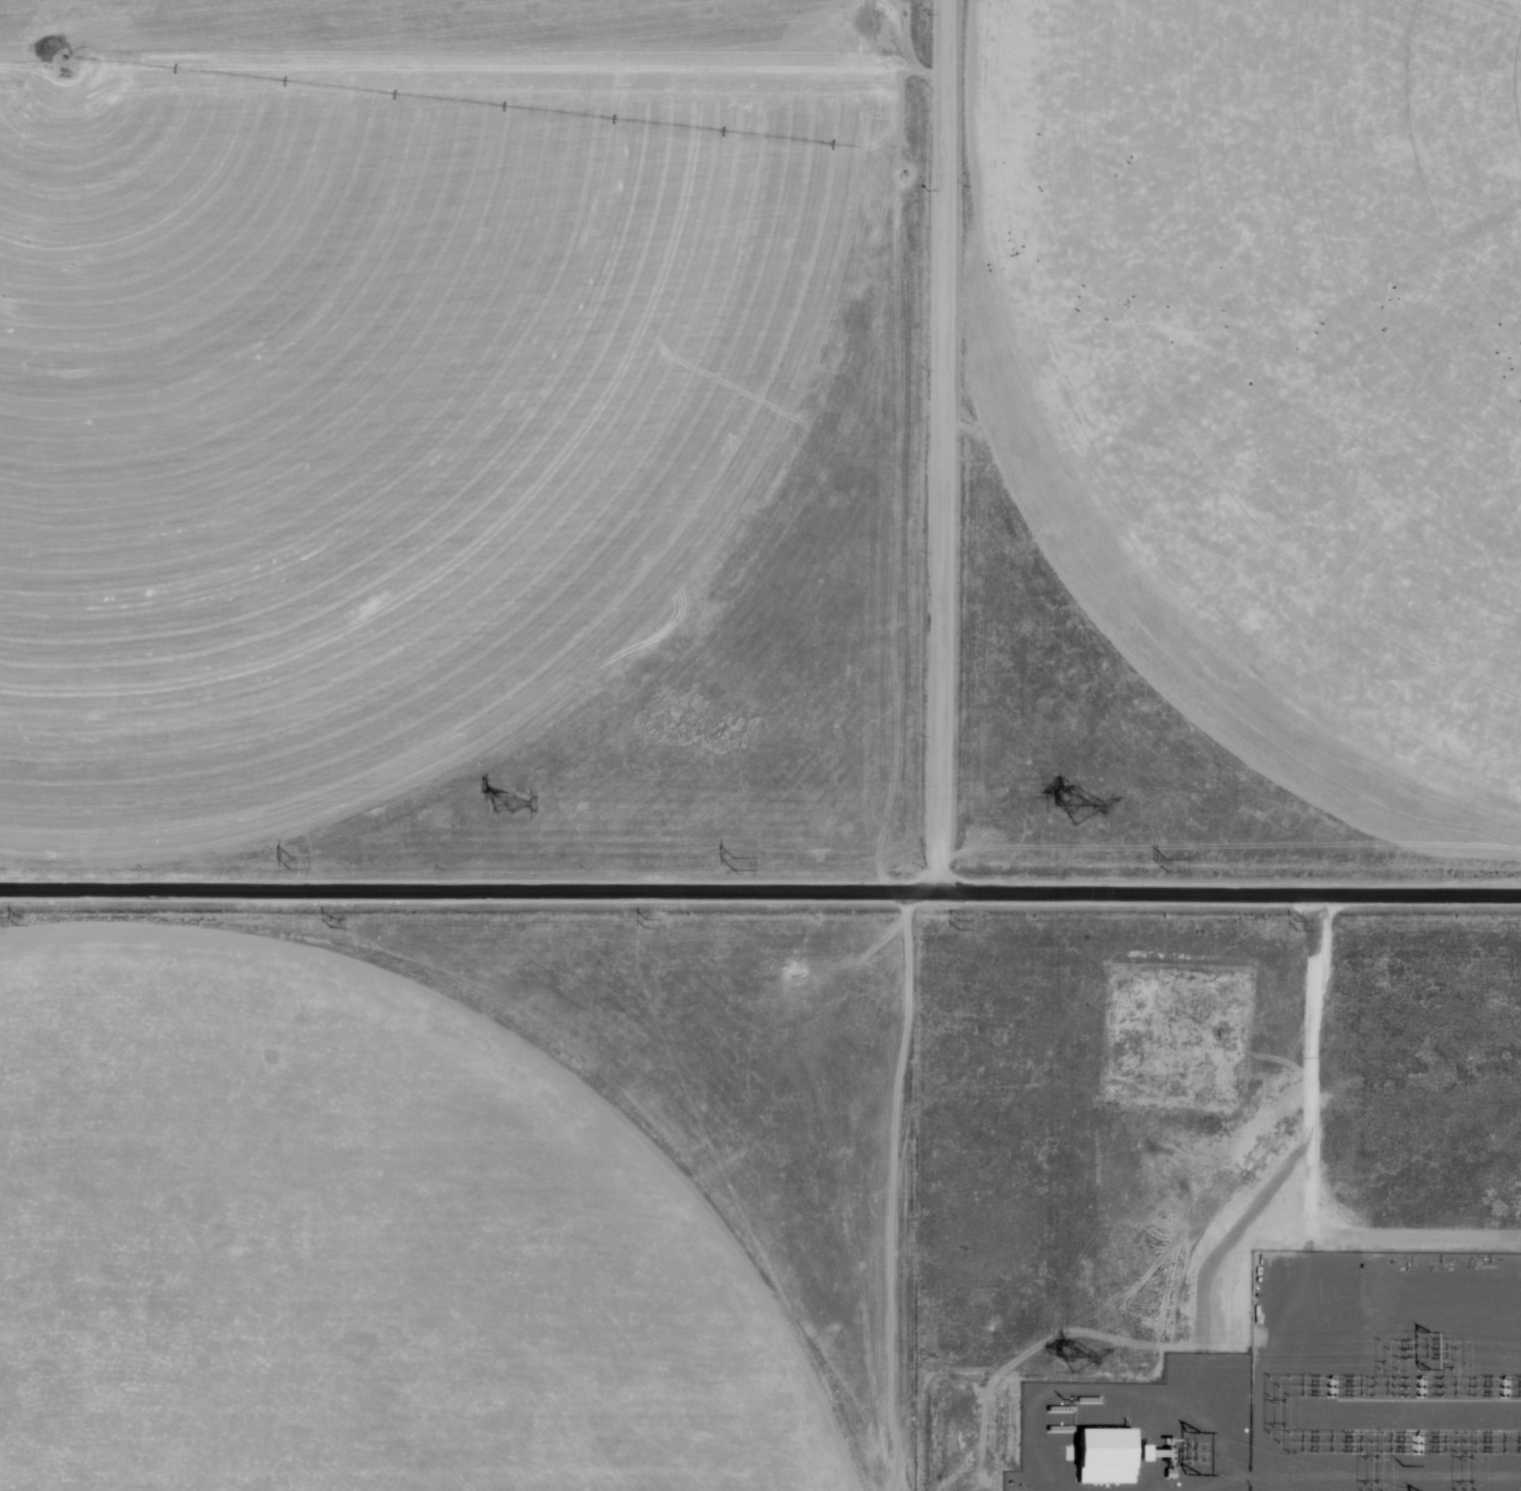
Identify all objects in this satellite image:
road: (941, 446)
power tower: (502, 802)
power tower: (1072, 805)
power tower: (284, 862)
power tower: (730, 865)
power tower: (1163, 868)
road: (760, 890)
power tower: (11, 921)
power tower: (326, 923)
power tower: (641, 926)
power tower: (954, 926)
power tower: (1299, 928)
power tower: (1071, 1354)
power substation: (1314, 1389)
building: (1110, 1455)

